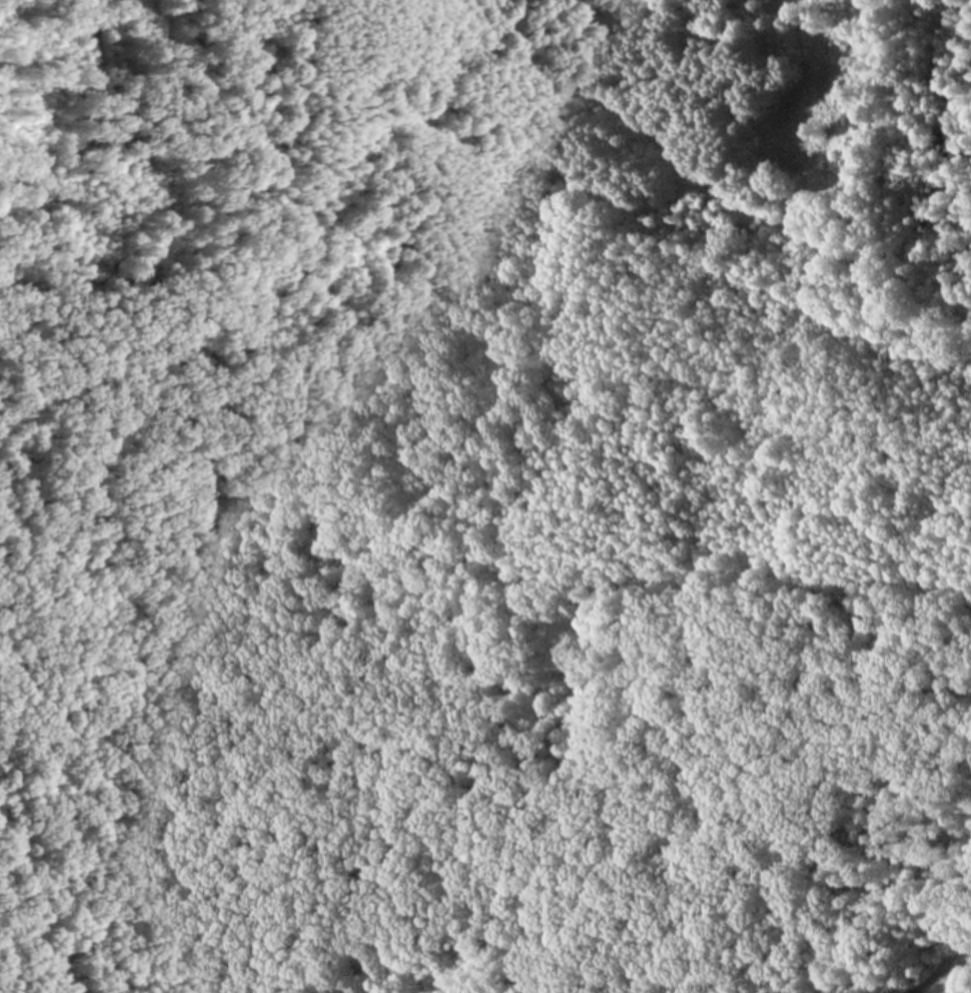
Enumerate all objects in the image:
road: (489, 19)
road: (720, 194)

